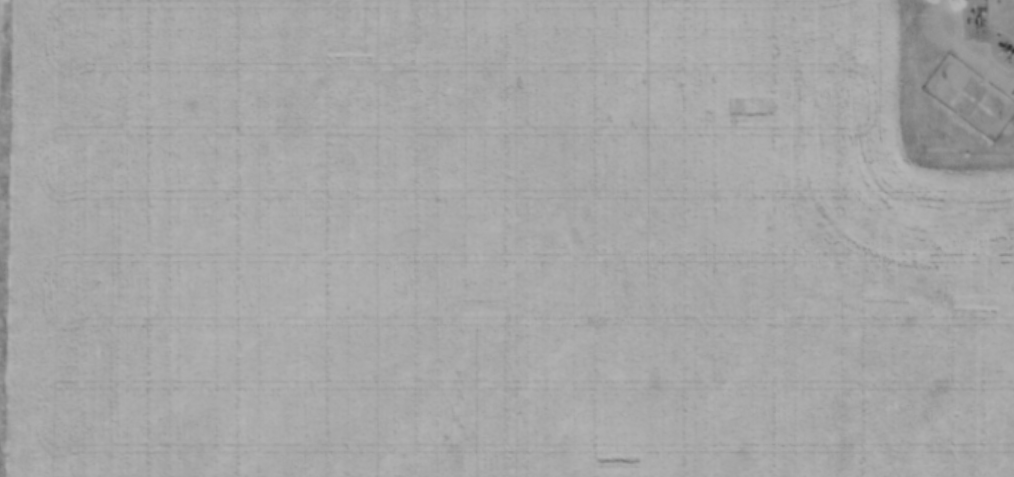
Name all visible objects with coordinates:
park: (959, 98)

